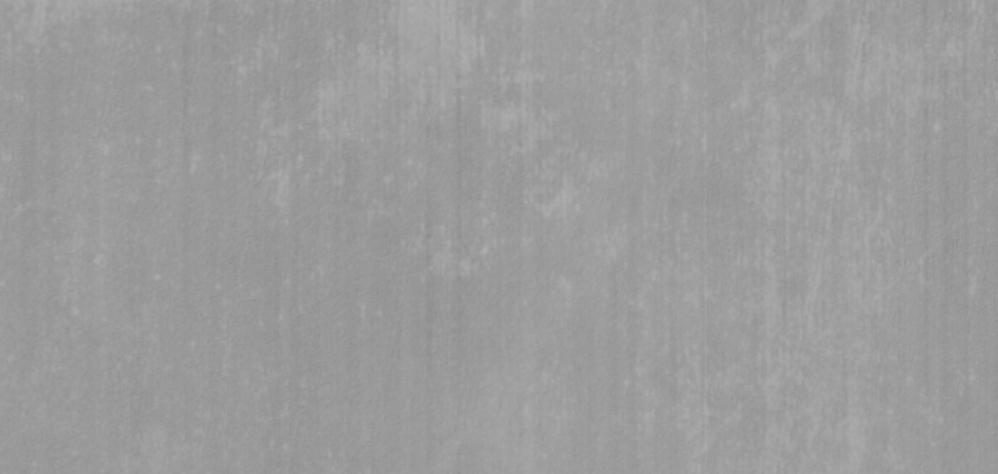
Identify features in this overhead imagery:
crop: (499, 237)

